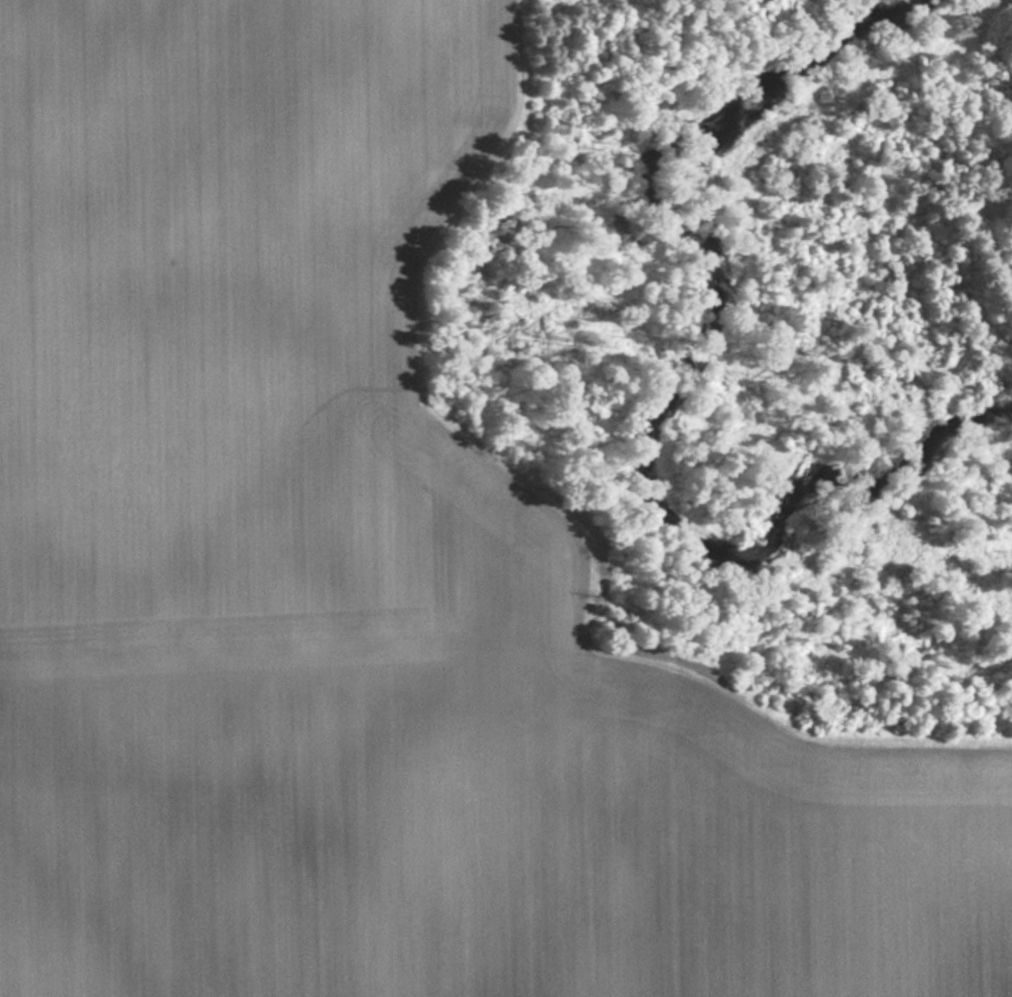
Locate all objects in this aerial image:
river: (720, 347)

